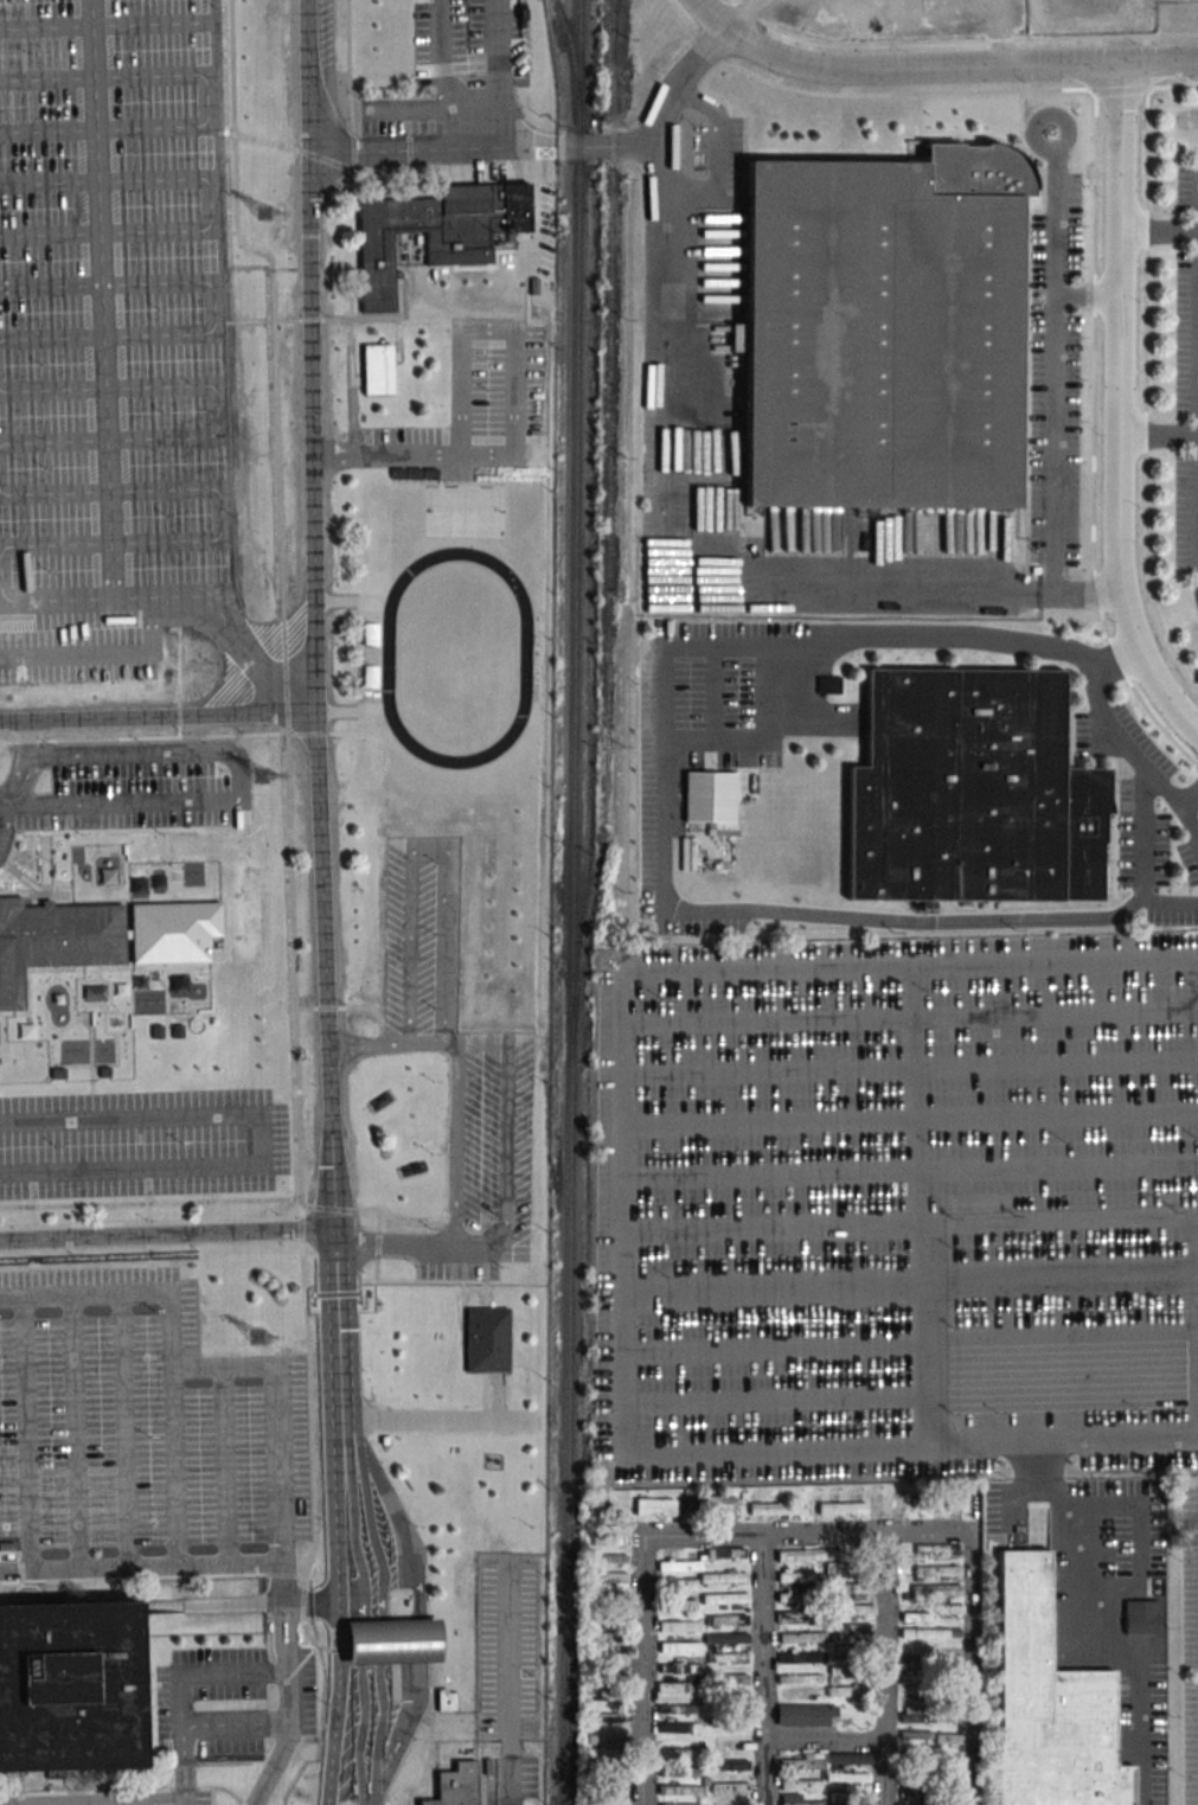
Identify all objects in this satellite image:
building: (1090, 7)
road: (711, 14)
road: (103, 25)
road: (960, 41)
railway: (616, 47)
railway: (574, 56)
road: (956, 66)
road: (679, 81)
road: (206, 102)
road: (417, 110)
road: (495, 139)
road: (483, 148)
road: (717, 154)
road: (210, 205)
power tower: (267, 212)
road: (1159, 230)
building: (436, 231)
road: (658, 235)
road: (1085, 295)
road: (102, 299)
road: (213, 308)
road: (488, 329)
building: (883, 332)
parking lot: (109, 335)
building: (378, 369)
building: (459, 369)
road: (1145, 372)
road: (1051, 397)
parking lot: (475, 403)
road: (1120, 407)
road: (218, 411)
road: (1158, 436)
road: (412, 455)
park: (465, 511)
railway: (609, 529)
road: (38, 545)
road: (929, 587)
road: (1, 602)
road: (314, 614)
road: (931, 636)
road: (104, 654)
track: (457, 657)
building: (828, 684)
road: (158, 717)
road: (692, 736)
road: (1123, 753)
road: (26, 764)
power tower: (262, 776)
parking lot: (145, 787)
road: (241, 791)
building: (969, 791)
building: (709, 796)
road: (1189, 823)
road: (8, 824)
road: (430, 851)
road: (1146, 863)
building: (193, 873)
railway: (574, 902)
road: (821, 921)
building: (97, 937)
road: (911, 1016)
road: (911, 1067)
road: (457, 1080)
road: (911, 1118)
road: (263, 1140)
parking lot: (142, 1144)
road: (910, 1170)
parking lot: (897, 1206)
road: (623, 1214)
road: (910, 1224)
road: (506, 1227)
road: (168, 1234)
road: (978, 1280)
road: (771, 1286)
road: (339, 1324)
power tower: (258, 1338)
building: (486, 1339)
road: (172, 1344)
road: (773, 1349)
road: (1061, 1363)
road: (774, 1398)
road: (277, 1412)
parking lot: (141, 1419)
road: (437, 1421)
road: (347, 1429)
road: (124, 1430)
road: (76, 1433)
road: (27, 1434)
road: (225, 1466)
building: (950, 1498)
building: (922, 1499)
building: (897, 1500)
building: (706, 1504)
building: (654, 1506)
building: (775, 1508)
building: (841, 1508)
building: (609, 1512)
road: (806, 1534)
building: (609, 1540)
building: (931, 1550)
building: (725, 1553)
building: (607, 1558)
building: (679, 1566)
road: (160, 1567)
building: (848, 1568)
building: (937, 1570)
building: (796, 1576)
building: (610, 1577)
building: (723, 1577)
building: (680, 1585)
building: (851, 1589)
building: (936, 1590)
building: (795, 1596)
building: (724, 1599)
road: (310, 1601)
building: (680, 1605)
building: (852, 1609)
building: (949, 1609)
road: (338, 1612)
road: (417, 1615)
building: (799, 1617)
building: (915, 1617)
building: (1140, 1617)
road: (383, 1619)
building: (726, 1620)
road: (363, 1621)
building: (678, 1626)
building: (850, 1632)
building: (924, 1633)
building: (607, 1637)
road: (761, 1637)
building: (802, 1637)
road: (884, 1637)
building: (726, 1638)
building: (391, 1641)
building: (679, 1646)
parking lot: (507, 1651)
building: (728, 1657)
building: (799, 1657)
building: (611, 1658)
building: (679, 1668)
road: (973, 1668)
road: (639, 1671)
building: (838, 1671)
building: (610, 1678)
building: (733, 1679)
building: (797, 1679)
road: (508, 1682)
road: (181, 1686)
building: (679, 1686)
building: (70, 1688)
building: (850, 1692)
building: (608, 1696)
building: (446, 1700)
building: (1048, 1703)
parking lot: (173, 1704)
road: (288, 1707)
building: (675, 1709)
building: (917, 1714)
building: (806, 1715)
building: (607, 1718)
road: (236, 1724)
building: (675, 1727)
building: (915, 1735)
building: (947, 1737)
building: (606, 1740)
road: (822, 1740)
building: (688, 1754)
building: (846, 1759)
building: (802, 1761)
building: (729, 1765)
building: (688, 1771)
road: (882, 1772)
road: (764, 1773)
building: (847, 1778)
building: (487, 1781)
parking lot: (511, 1781)
building: (800, 1784)
building: (611, 1785)
building: (954, 1785)
building: (456, 1786)
building: (730, 1788)
building: (681, 1790)
building: (911, 1793)
building: (839, 1798)
parking lot: (114, 1799)
building: (800, 1799)
building: (861, 1801)
road: (136, 1803)
road: (374, 1803)
building: (684, 1804)

